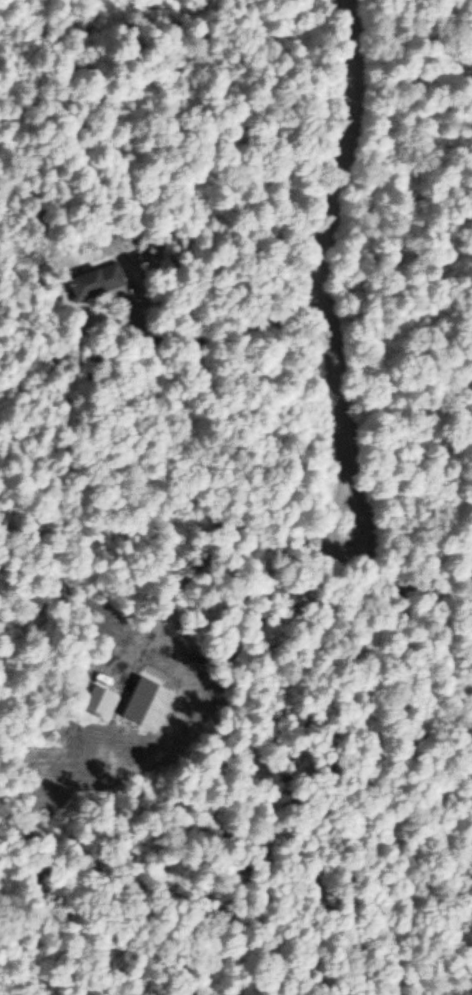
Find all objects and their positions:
road: (324, 238)
road: (355, 549)

